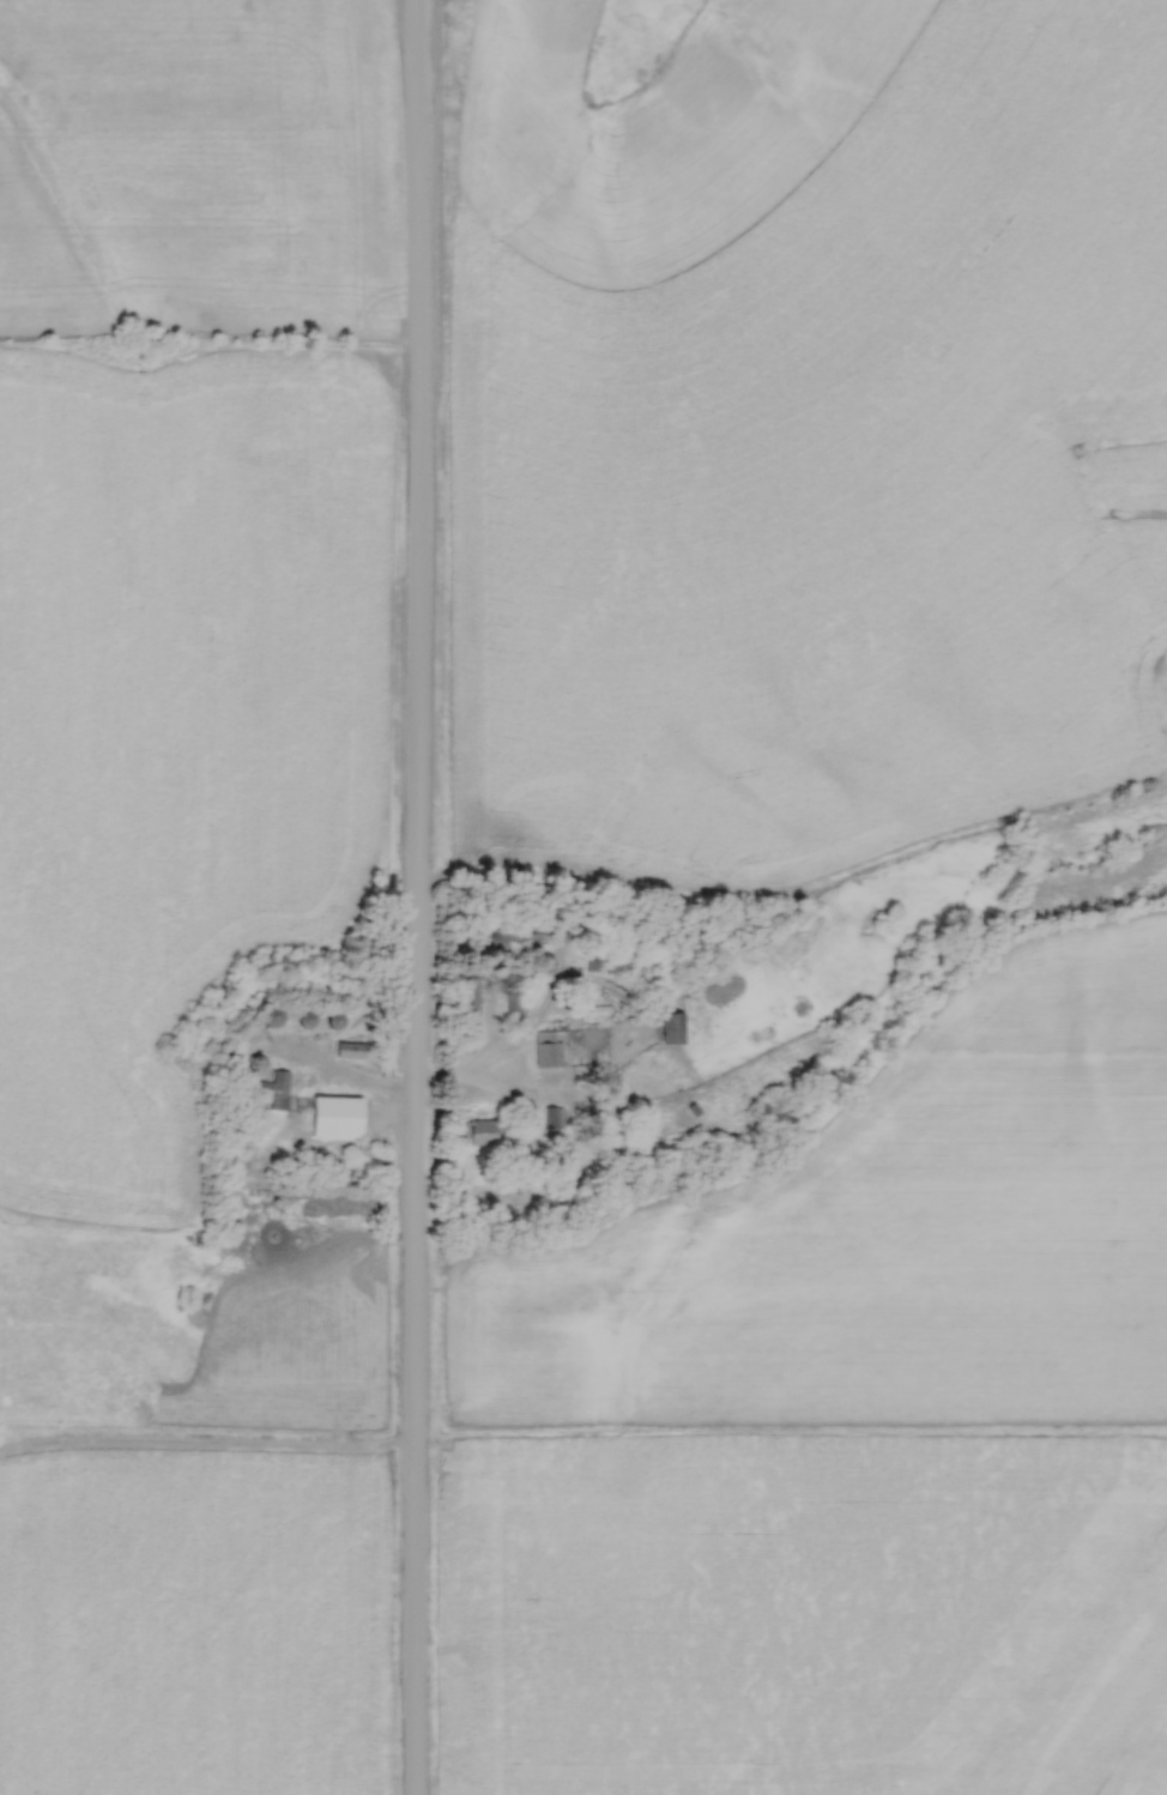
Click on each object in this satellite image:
road: (417, 896)
building: (519, 932)
building: (468, 1001)
building: (268, 1016)
building: (302, 1019)
building: (331, 1020)
building: (669, 1028)
building: (346, 1050)
building: (544, 1051)
building: (270, 1089)
building: (332, 1116)
building: (477, 1131)

